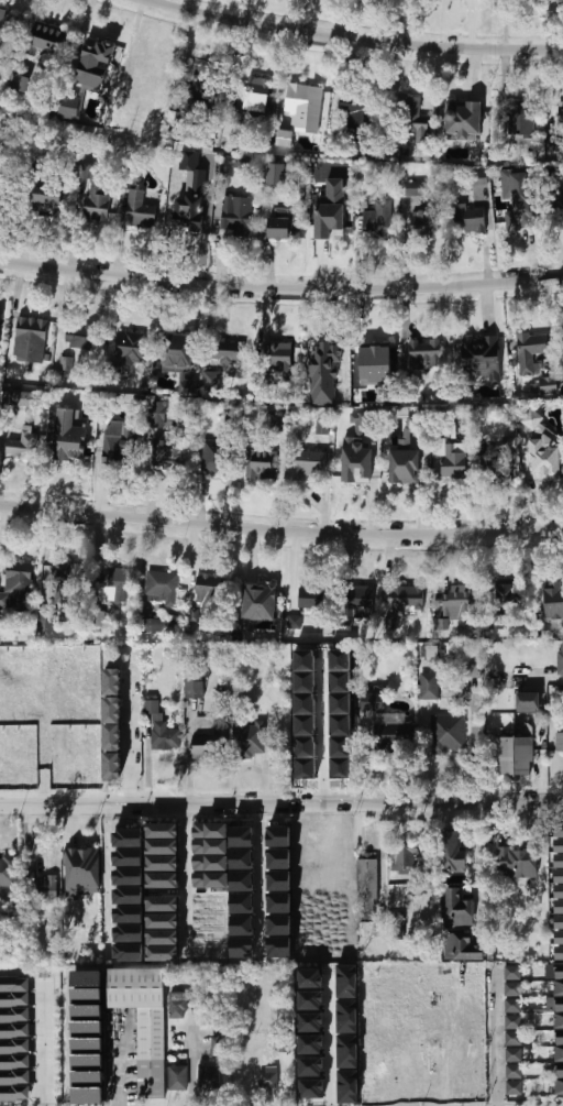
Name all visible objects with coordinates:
building: (3, 25)
building: (47, 39)
road: (354, 40)
building: (95, 54)
building: (19, 83)
building: (201, 84)
building: (257, 95)
building: (296, 98)
building: (69, 109)
building: (317, 110)
building: (357, 110)
building: (562, 117)
building: (518, 118)
building: (413, 119)
building: (464, 119)
building: (285, 136)
building: (228, 166)
building: (89, 172)
building: (276, 174)
building: (479, 177)
building: (415, 188)
building: (190, 190)
building: (518, 199)
building: (361, 201)
building: (562, 201)
building: (97, 202)
building: (43, 204)
building: (140, 208)
building: (236, 215)
building: (468, 218)
building: (426, 221)
building: (378, 222)
building: (283, 223)
building: (330, 226)
road: (280, 288)
building: (0, 322)
building: (30, 331)
building: (78, 337)
building: (129, 348)
building: (238, 348)
building: (531, 350)
building: (177, 353)
building: (323, 353)
building: (377, 354)
building: (426, 354)
building: (277, 357)
building: (481, 359)
building: (211, 381)
building: (549, 385)
building: (187, 387)
building: (23, 399)
building: (159, 415)
building: (362, 421)
building: (273, 424)
building: (322, 427)
building: (22, 444)
building: (119, 445)
building: (541, 446)
building: (68, 448)
building: (167, 449)
building: (450, 457)
building: (212, 459)
building: (262, 464)
building: (310, 466)
building: (402, 466)
building: (355, 467)
building: (498, 467)
road: (278, 475)
road: (280, 530)
building: (66, 583)
building: (16, 585)
building: (114, 585)
building: (210, 587)
building: (162, 589)
building: (508, 591)
building: (311, 596)
building: (409, 599)
building: (553, 600)
building: (358, 601)
building: (261, 603)
building: (459, 607)
building: (496, 621)
building: (46, 622)
building: (295, 622)
building: (391, 623)
building: (151, 625)
building: (561, 658)
building: (43, 659)
building: (0, 674)
road: (541, 676)
building: (112, 681)
building: (196, 682)
building: (429, 686)
building: (371, 701)
building: (528, 701)
building: (341, 703)
building: (71, 720)
road: (130, 727)
building: (161, 729)
building: (448, 733)
building: (18, 734)
building: (394, 736)
building: (113, 737)
building: (247, 738)
building: (207, 741)
road: (323, 741)
building: (560, 741)
building: (339, 746)
building: (516, 755)
building: (306, 758)
road: (280, 803)
building: (279, 836)
building: (163, 839)
building: (210, 839)
building: (242, 847)
building: (450, 850)
building: (279, 858)
building: (402, 858)
building: (163, 863)
building: (210, 863)
building: (516, 863)
road: (476, 866)
building: (8, 872)
building: (82, 872)
building: (128, 876)
road: (187, 877)
road: (263, 878)
road: (104, 879)
building: (210, 879)
building: (163, 880)
building: (242, 880)
building: (367, 885)
building: (45, 889)
building: (559, 891)
building: (242, 904)
building: (279, 904)
building: (456, 910)
building: (242, 935)
building: (129, 943)
building: (462, 946)
building: (279, 948)
building: (512, 973)
building: (86, 978)
building: (310, 978)
building: (346, 981)
building: (13, 984)
building: (512, 989)
building: (86, 995)
building: (558, 996)
building: (13, 999)
building: (311, 1000)
building: (178, 1005)
building: (512, 1005)
building: (86, 1012)
building: (13, 1015)
building: (514, 1021)
building: (144, 1022)
building: (311, 1022)
building: (87, 1029)
building: (13, 1030)
building: (347, 1033)
road: (496, 1037)
building: (514, 1038)
road: (330, 1043)
building: (311, 1044)
building: (13, 1045)
road: (43, 1045)
building: (87, 1045)
building: (219, 1045)
building: (514, 1054)
building: (13, 1061)
building: (86, 1062)
road: (121, 1062)
building: (559, 1065)
building: (311, 1066)
building: (514, 1071)
building: (13, 1076)
building: (208, 1076)
building: (178, 1077)
building: (86, 1078)
building: (268, 1080)
building: (347, 1086)
building: (515, 1087)
building: (312, 1088)
building: (13, 1093)
building: (86, 1095)

